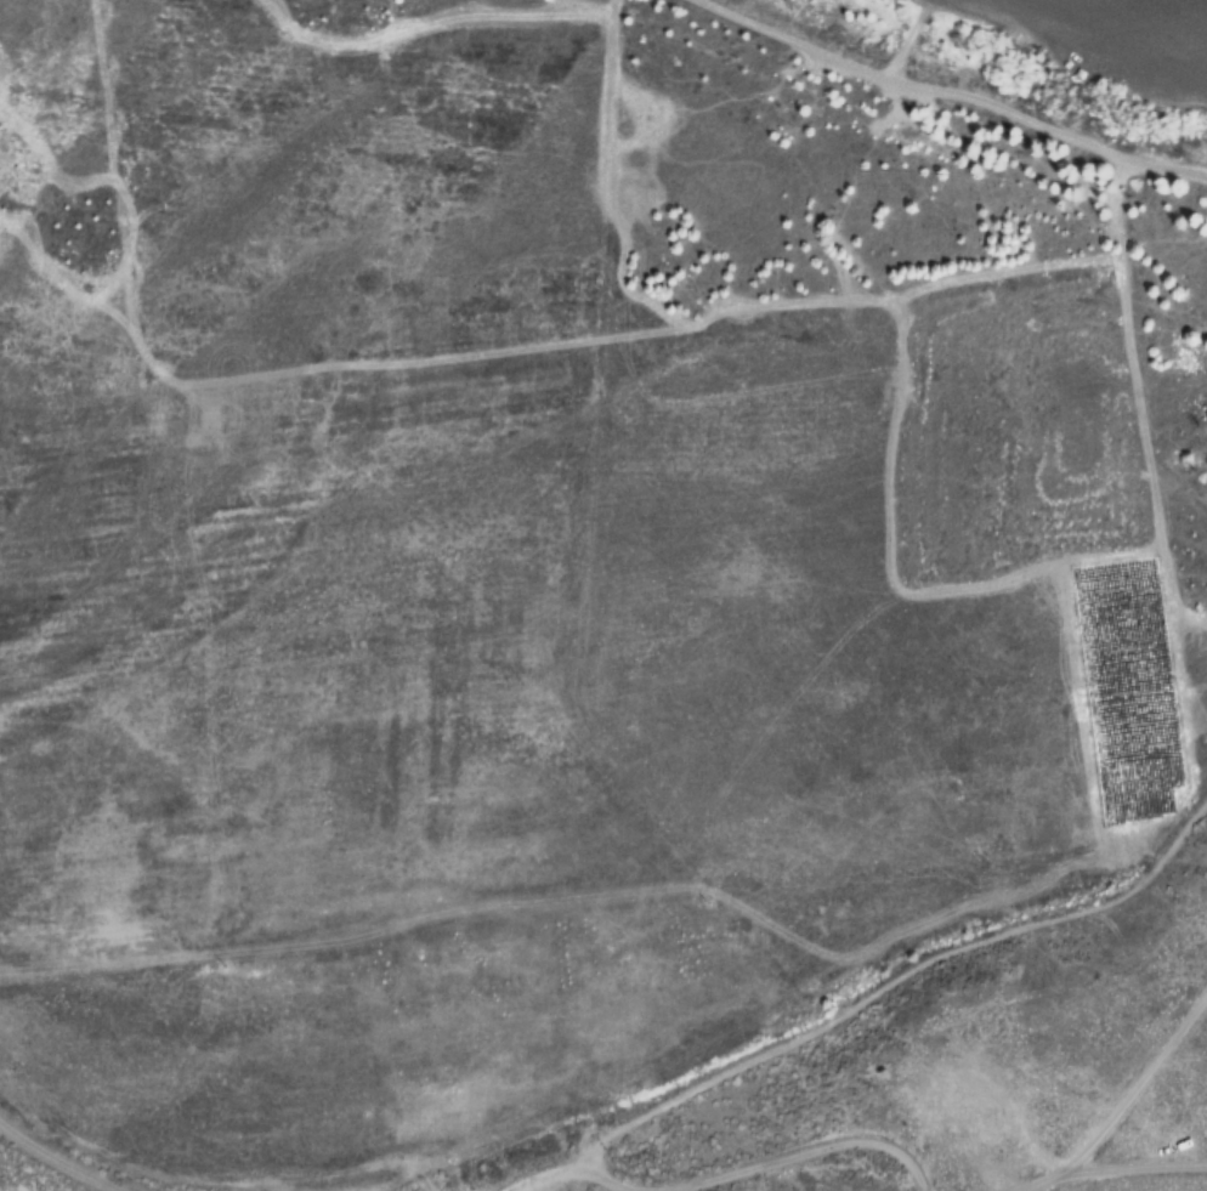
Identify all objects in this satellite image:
road: (953, 90)
crop: (577, 612)
road: (1134, 1085)
road: (57, 1162)
road: (1100, 1169)
road: (707, 1172)

